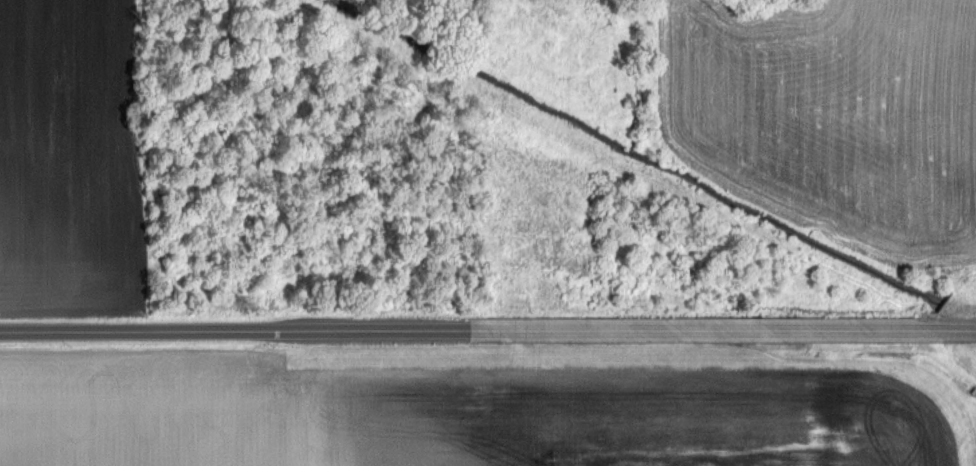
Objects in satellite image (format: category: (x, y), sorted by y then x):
road: (488, 332)

